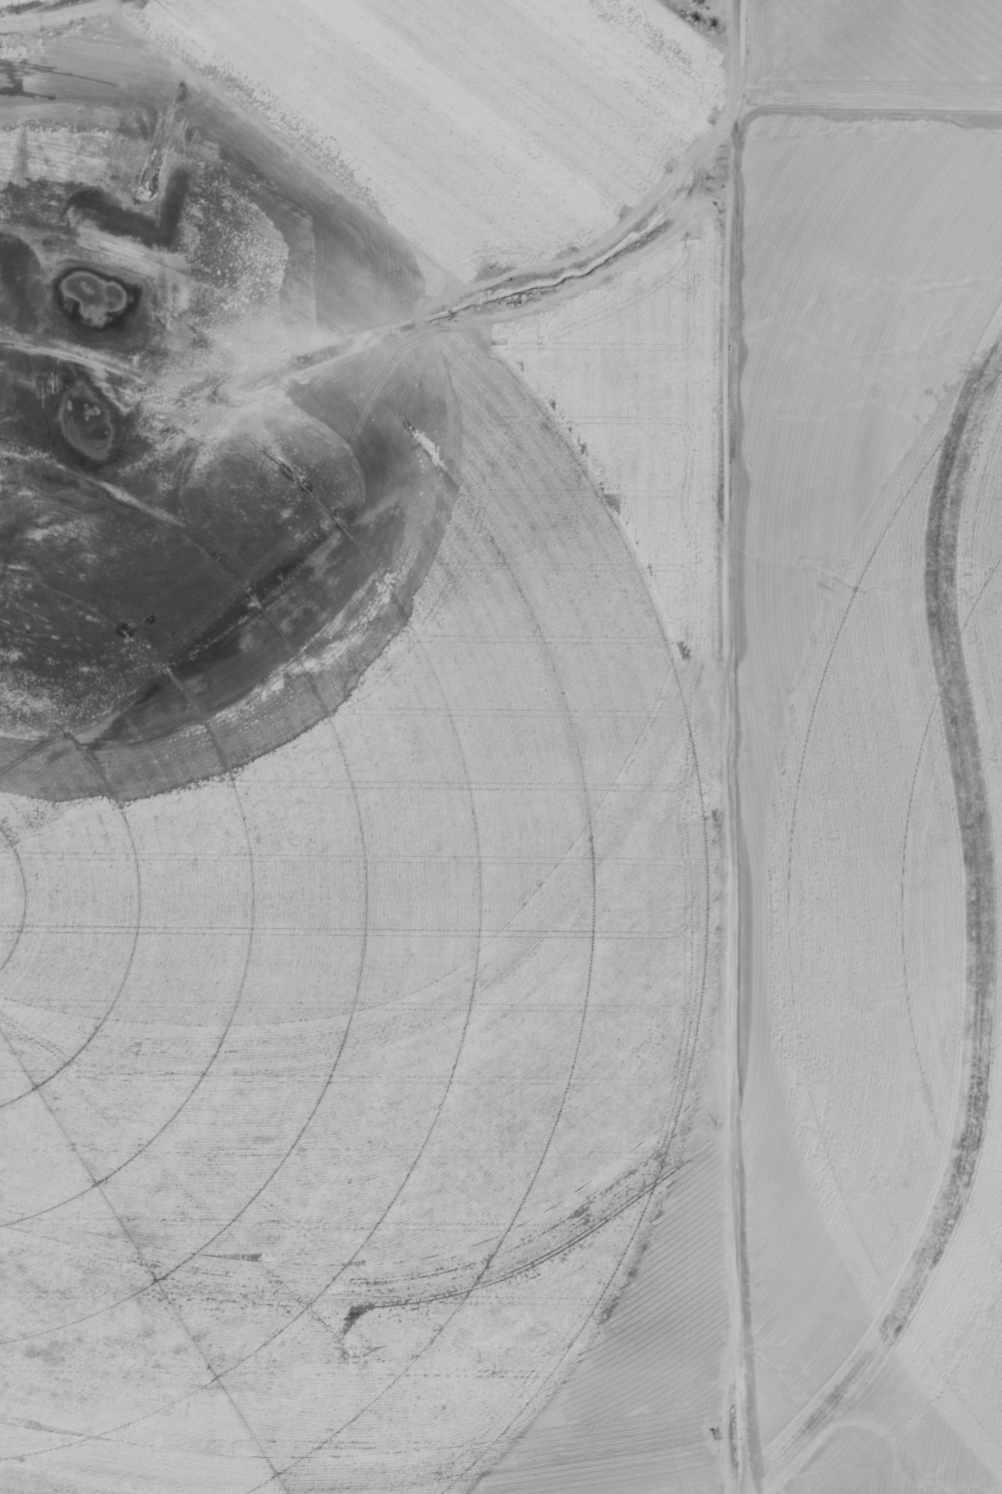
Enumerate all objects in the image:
road: (719, 747)

